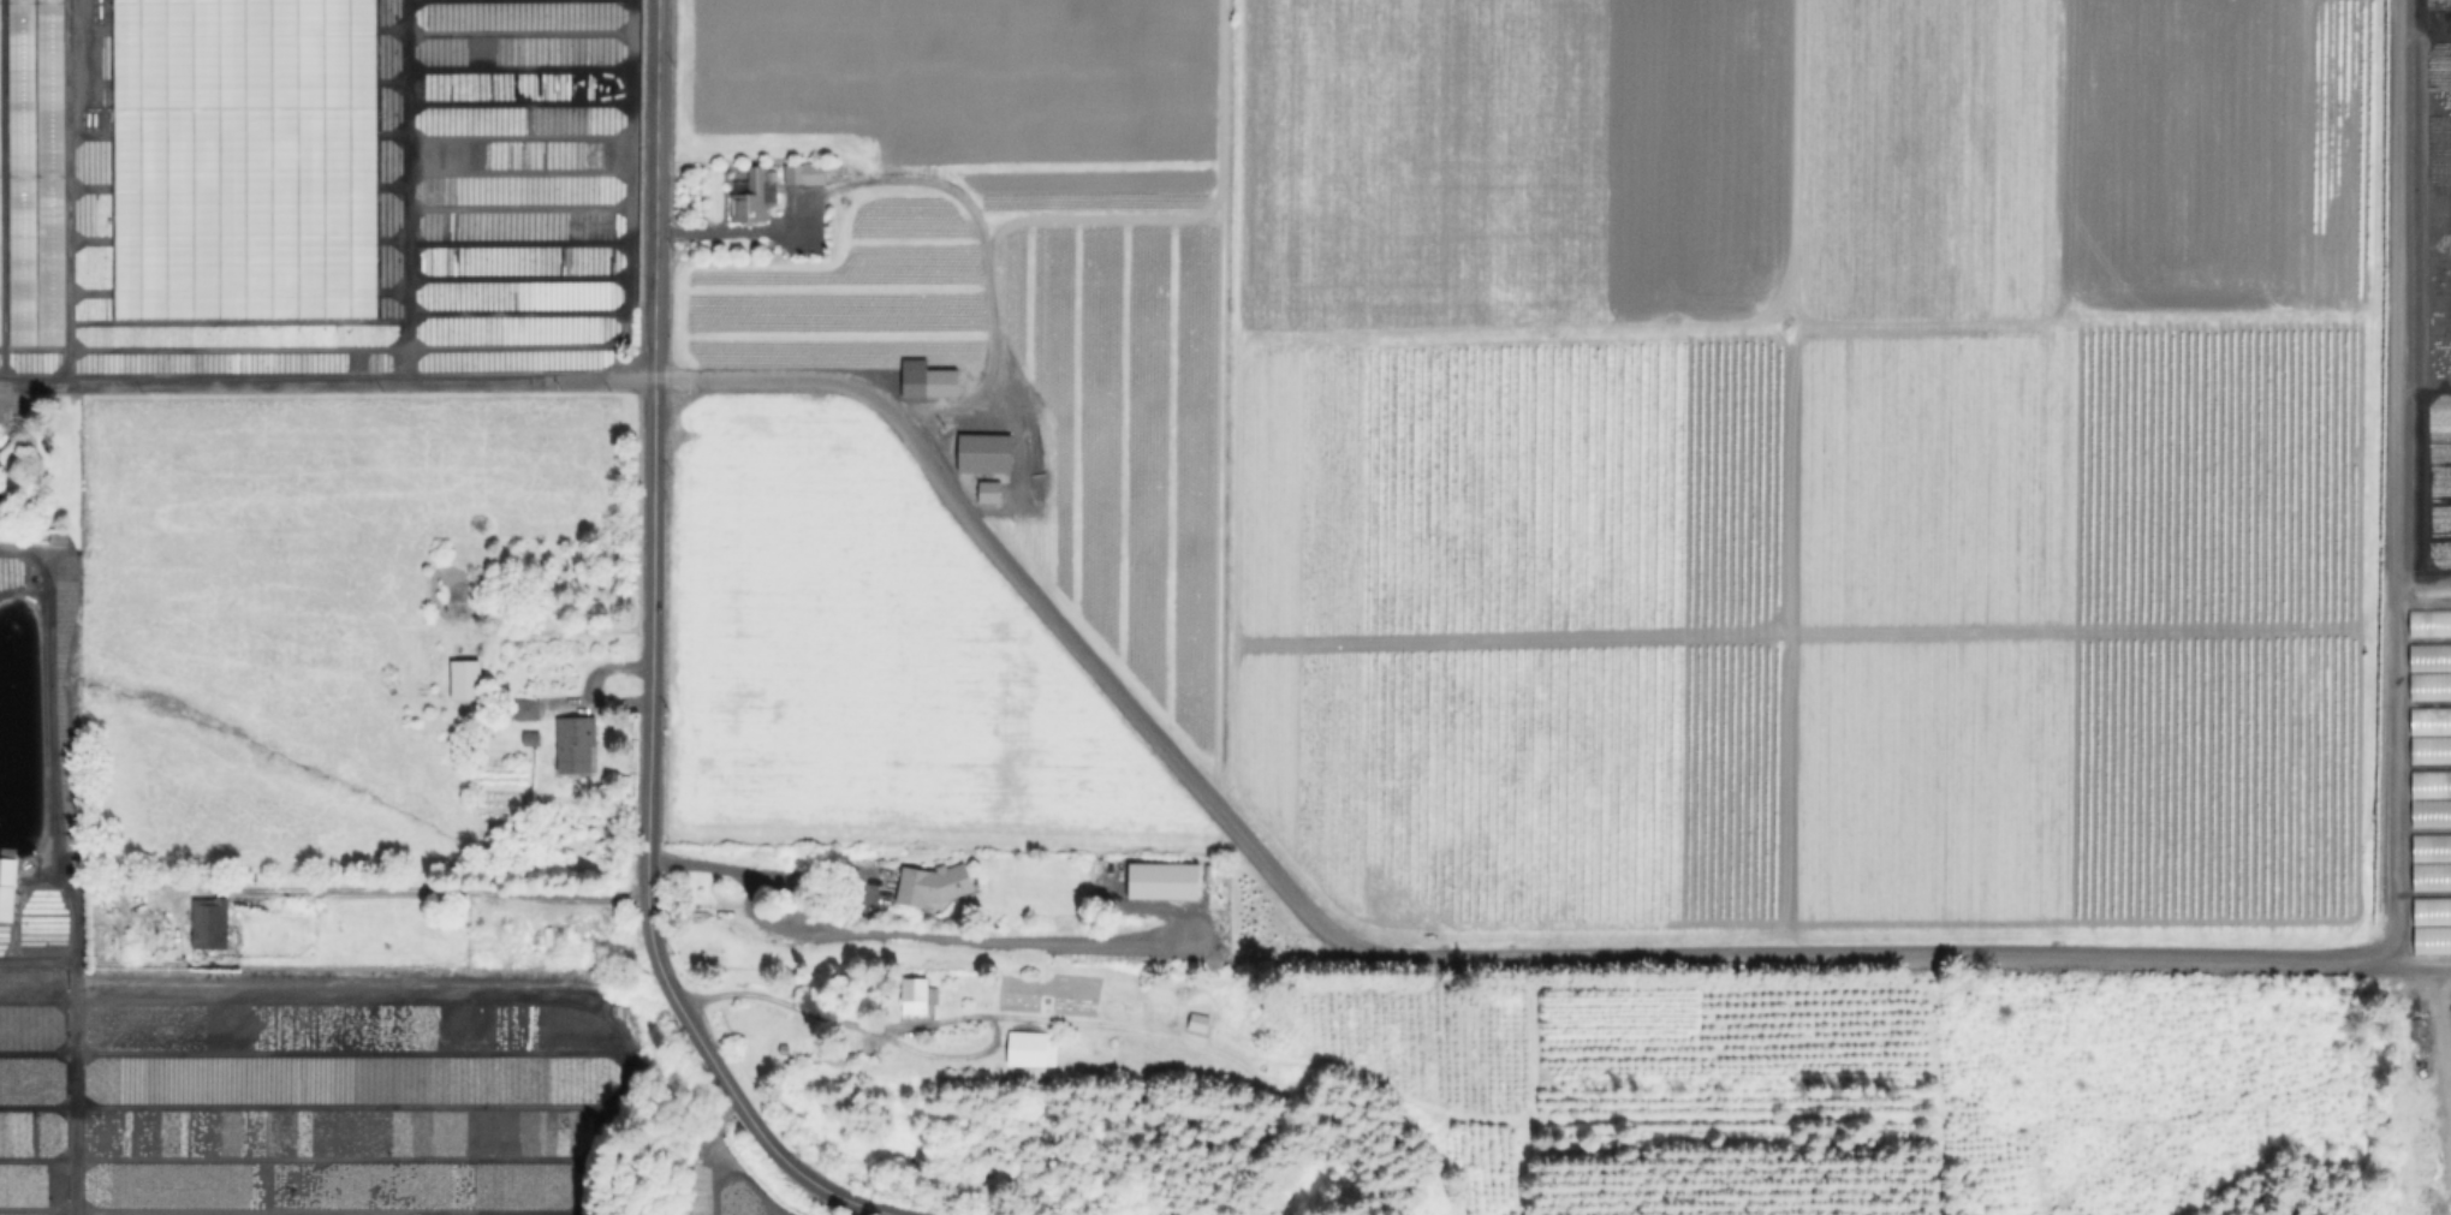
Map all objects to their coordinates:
building: (809, 174)
building: (754, 201)
building: (29, 203)
road: (728, 234)
road: (327, 381)
building: (930, 382)
building: (987, 455)
crop: (1541, 490)
building: (992, 494)
building: (2428, 621)
building: (2428, 656)
road: (652, 661)
building: (468, 681)
building: (2428, 685)
building: (530, 711)
building: (2429, 719)
building: (533, 739)
building: (577, 743)
building: (2426, 814)
building: (2429, 846)
road: (803, 874)
building: (1164, 876)
building: (2429, 877)
building: (933, 886)
building: (7, 888)
road: (393, 888)
building: (212, 925)
road: (902, 936)
road: (1868, 954)
road: (2417, 969)
building: (920, 995)
building: (1198, 1022)
road: (905, 1048)
building: (1033, 1049)
road: (734, 1166)

